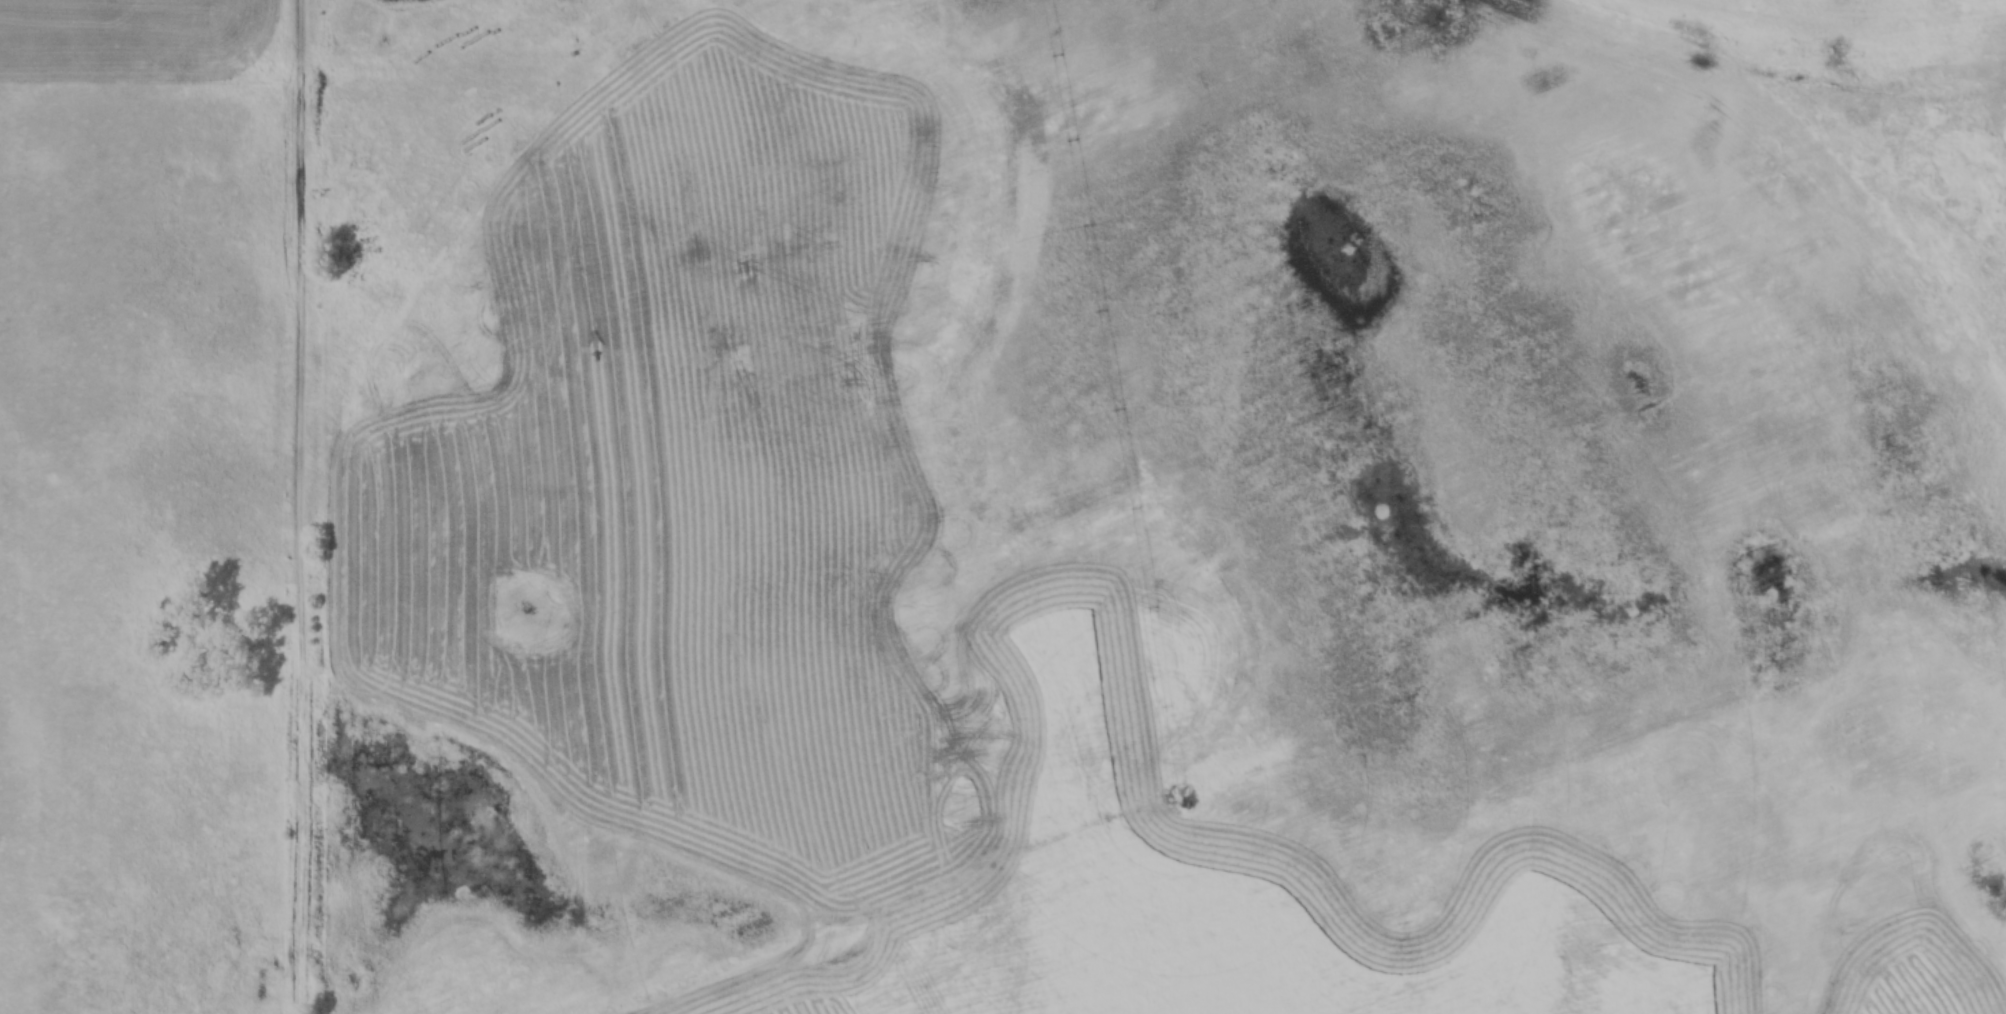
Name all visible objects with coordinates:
road: (301, 507)

